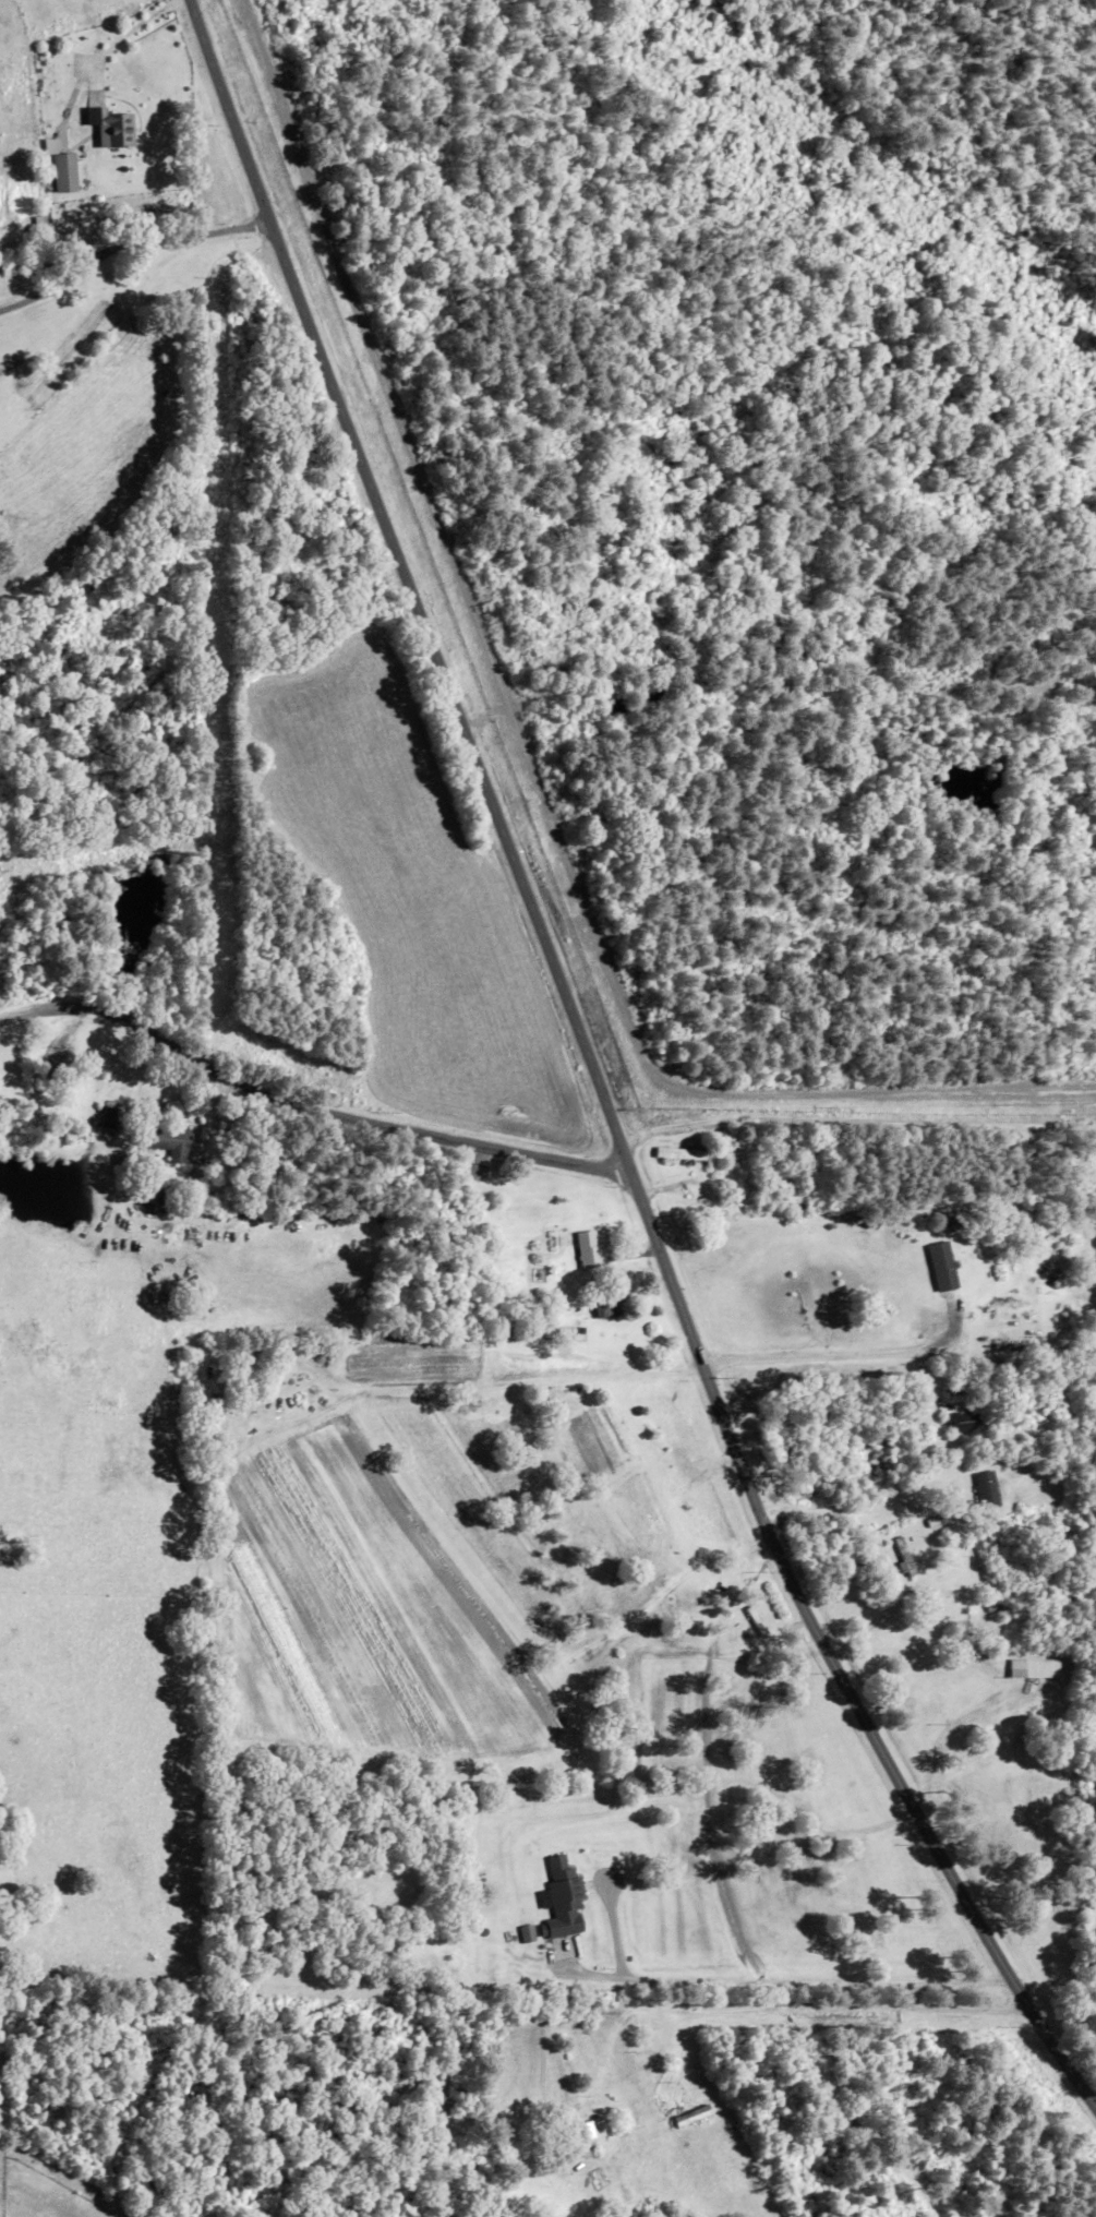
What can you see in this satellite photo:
building: (110, 127)
building: (61, 172)
road: (184, 238)
road: (49, 263)
road: (52, 287)
road: (520, 752)
road: (593, 1078)
road: (305, 1107)
building: (109, 1118)
building: (167, 1142)
building: (679, 1154)
building: (737, 1164)
building: (588, 1249)
building: (942, 1266)
building: (609, 1308)
road: (836, 1359)
building: (961, 1422)
building: (986, 1490)
road: (866, 1510)
building: (904, 1557)
building: (1032, 1668)
building: (561, 1897)
road: (785, 1982)
road: (744, 2008)
building: (581, 2130)

